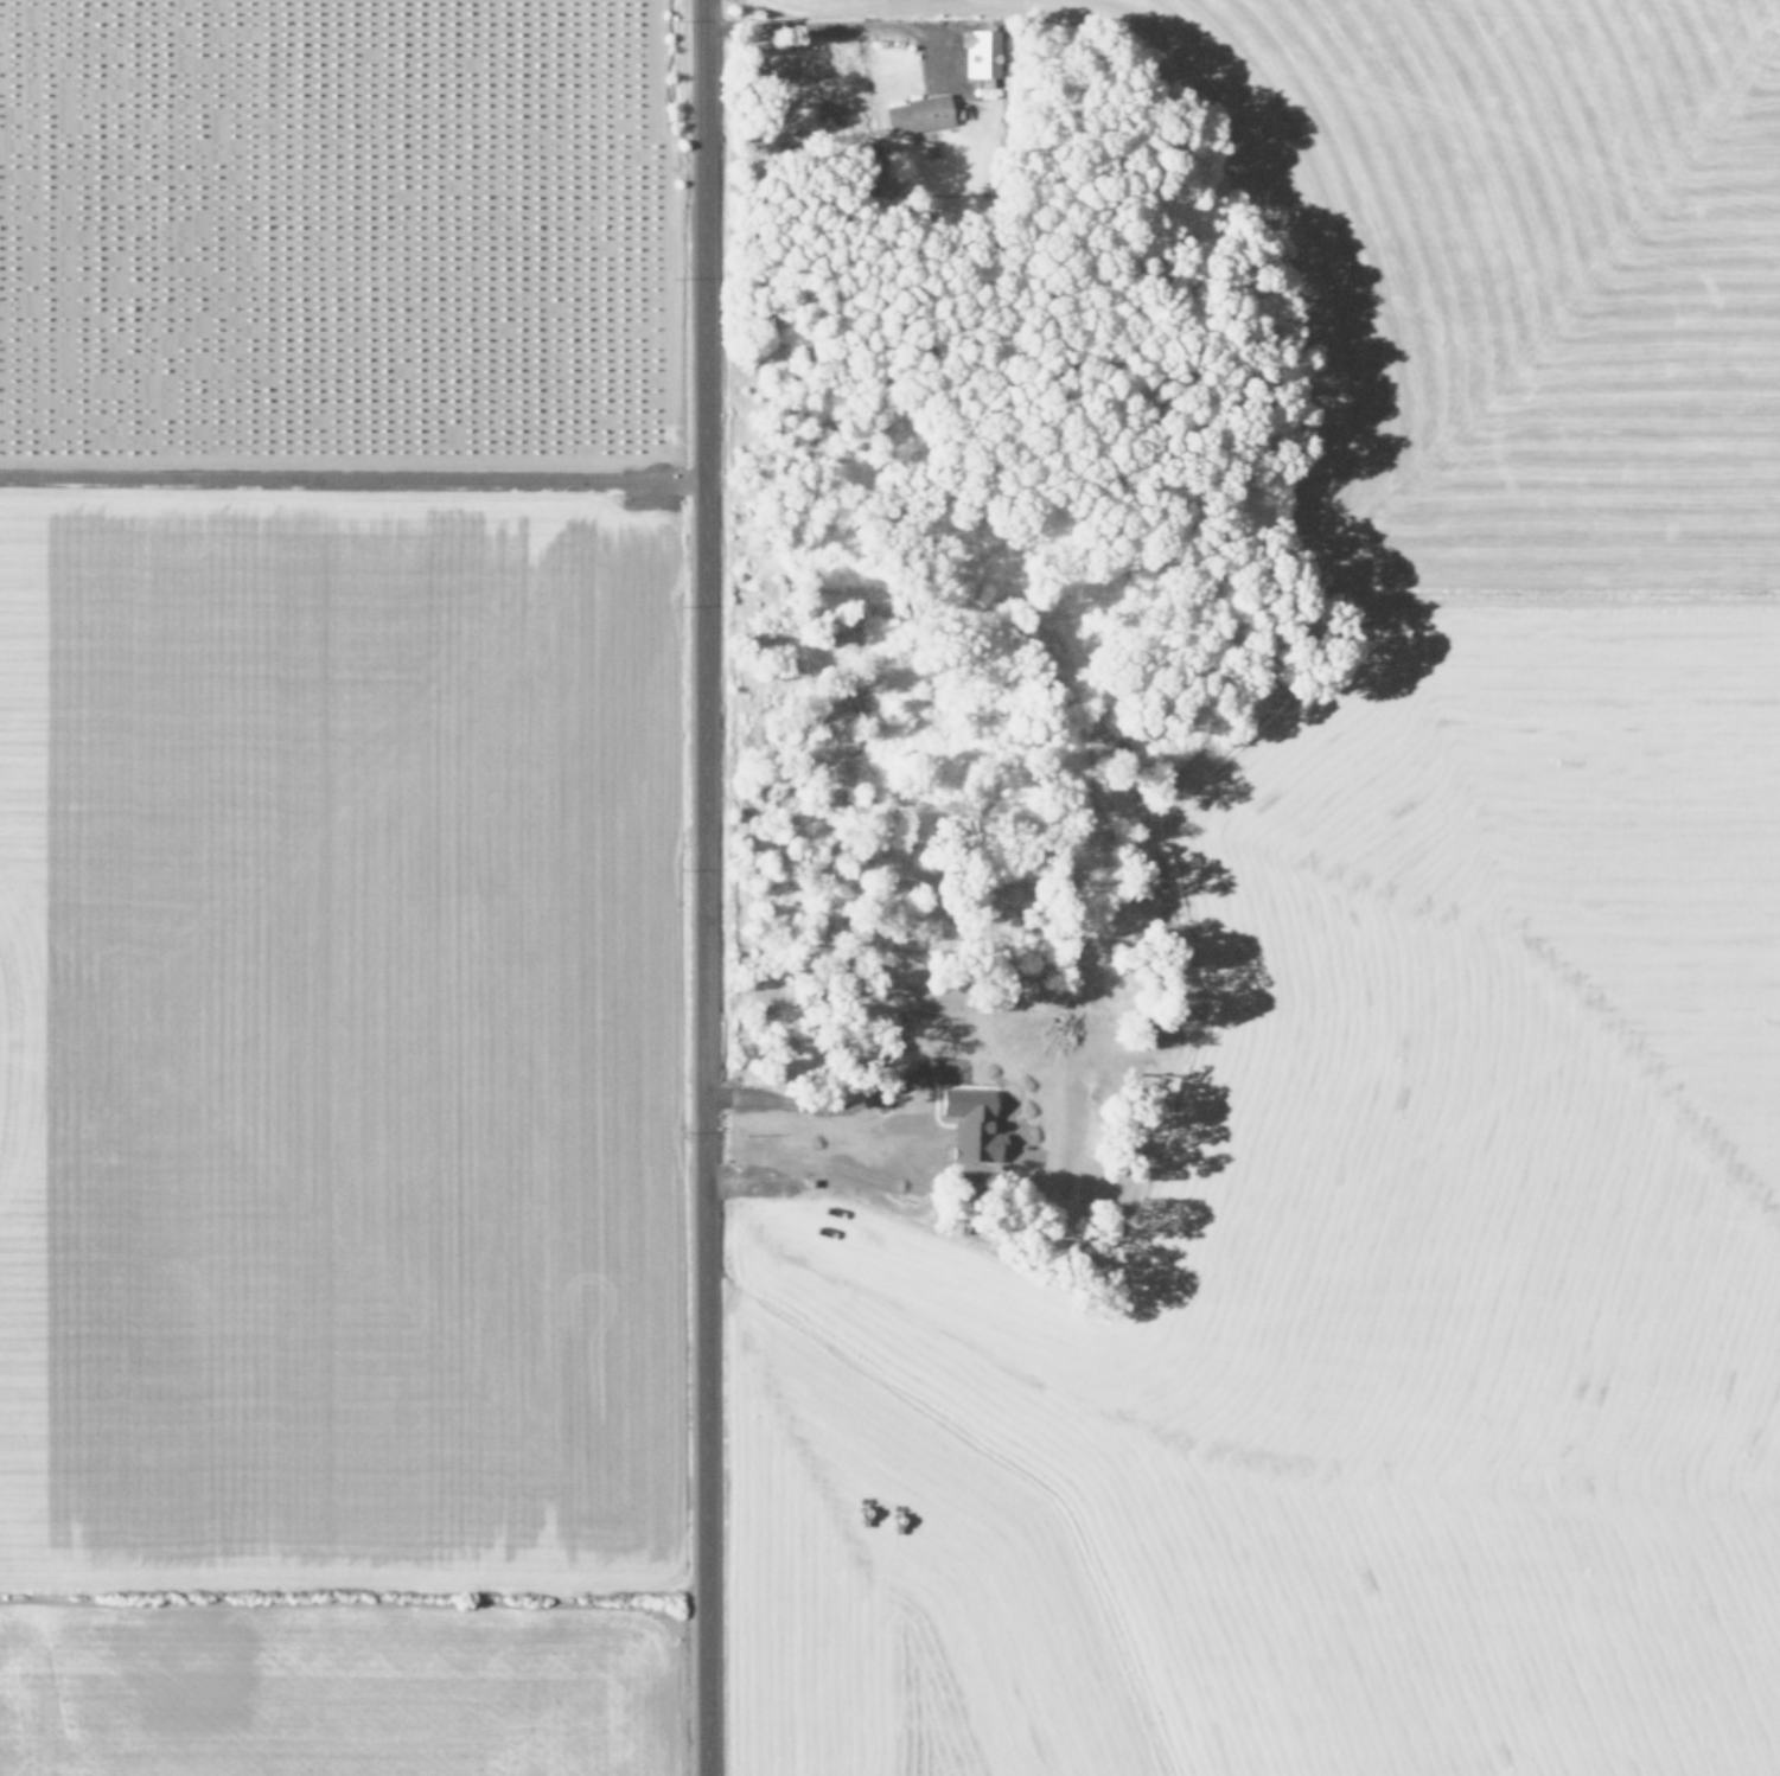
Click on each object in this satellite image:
building: (978, 52)
building: (914, 114)
road: (349, 479)
road: (698, 887)
crop: (330, 890)
crop: (1390, 1020)
building: (968, 1123)

